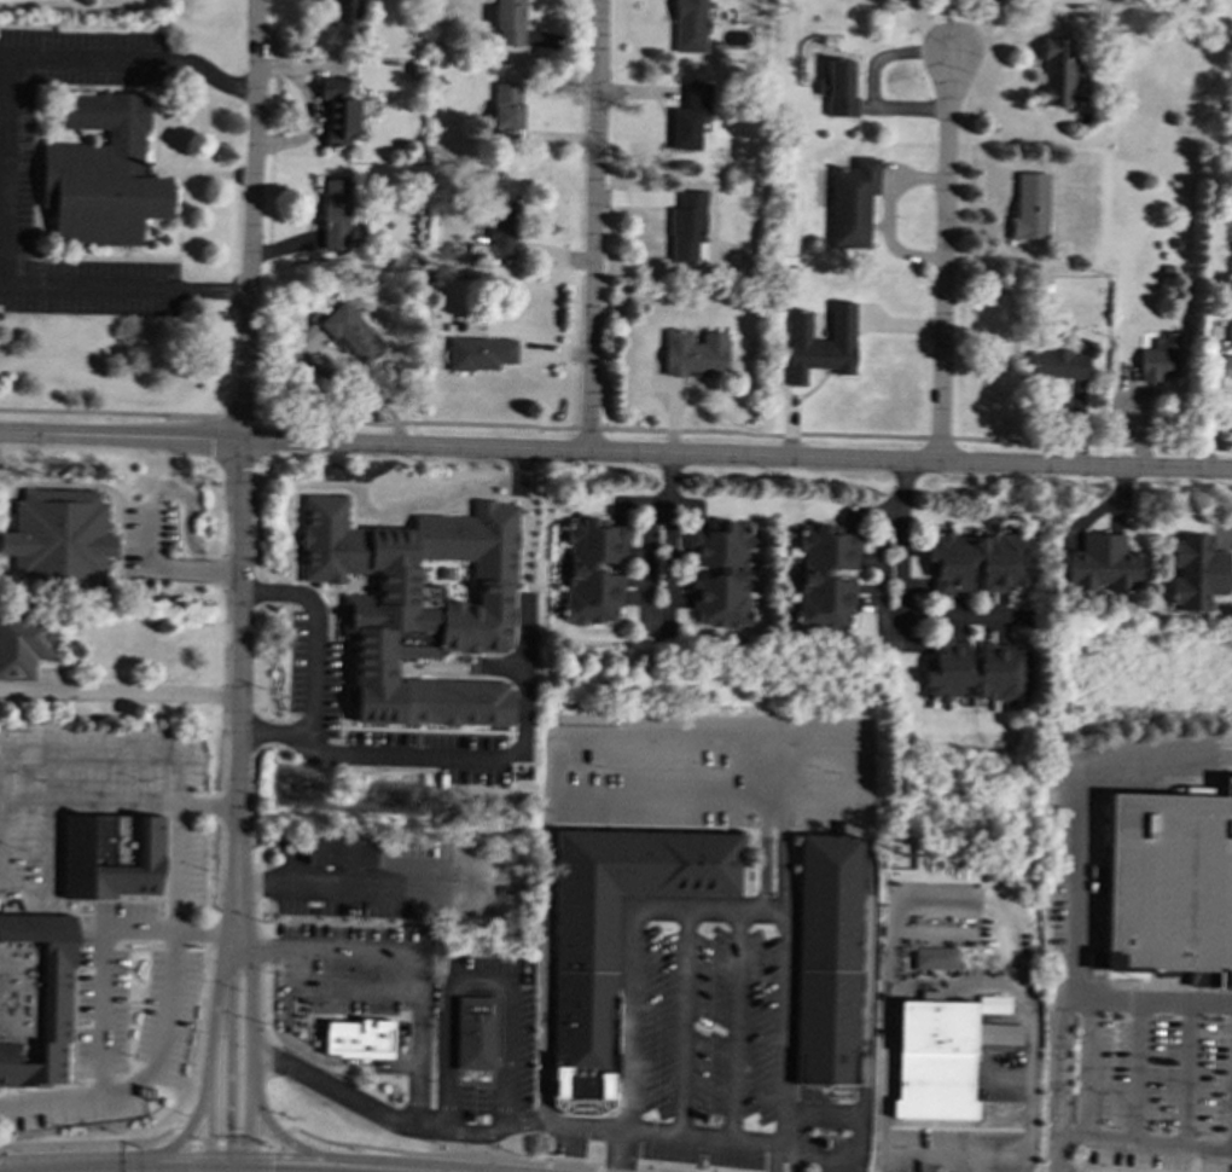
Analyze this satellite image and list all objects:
building: (344, 16)
building: (505, 21)
building: (688, 25)
building: (1059, 72)
road: (5, 77)
building: (838, 88)
building: (506, 105)
building: (337, 112)
building: (688, 117)
road: (6, 163)
parking lot: (16, 173)
building: (101, 173)
building: (852, 202)
building: (1029, 205)
building: (335, 214)
road: (592, 224)
building: (501, 227)
building: (686, 227)
road: (943, 255)
road: (1, 282)
building: (350, 332)
building: (1230, 333)
building: (821, 343)
building: (480, 353)
building: (693, 353)
building: (1158, 359)
building: (1058, 365)
building: (1225, 366)
road: (336, 378)
road: (242, 424)
road: (615, 428)
road: (294, 439)
road: (910, 459)
road: (518, 471)
road: (401, 518)
building: (58, 539)
building: (977, 561)
building: (1102, 564)
road: (163, 568)
building: (1196, 572)
building: (717, 574)
building: (825, 575)
road: (900, 587)
road: (646, 594)
building: (426, 619)
building: (22, 644)
building: (975, 672)
road: (130, 691)
road: (275, 731)
road: (553, 737)
road: (114, 752)
road: (383, 755)
road: (772, 768)
parking lot: (715, 771)
road: (118, 805)
road: (772, 806)
road: (550, 810)
building: (339, 852)
building: (109, 855)
road: (1077, 859)
road: (763, 860)
road: (780, 860)
road: (45, 871)
road: (238, 881)
parking lot: (366, 883)
road: (344, 884)
building: (1169, 887)
road: (176, 892)
road: (945, 898)
parking lot: (111, 915)
building: (611, 933)
road: (214, 936)
road: (633, 944)
road: (335, 950)
building: (934, 958)
building: (826, 959)
parking lot: (358, 965)
road: (473, 971)
road: (100, 973)
road: (948, 979)
road: (473, 981)
road: (341, 982)
building: (34, 998)
building: (992, 1004)
road: (1210, 1004)
road: (214, 1009)
road: (249, 1009)
road: (541, 1011)
road: (864, 1017)
road: (681, 1021)
road: (732, 1025)
road: (784, 1032)
building: (472, 1033)
parking lot: (515, 1033)
building: (358, 1038)
road: (417, 1038)
road: (308, 1054)
building: (940, 1057)
parking lot: (714, 1060)
road: (228, 1062)
road: (1085, 1069)
road: (1137, 1073)
road: (1186, 1075)
road: (1058, 1083)
road: (126, 1087)
parking lot: (1153, 1093)
road: (371, 1108)
road: (823, 1115)
road: (194, 1118)
road: (524, 1124)
traffic signals: (228, 1132)
traffic signals: (209, 1136)
road: (272, 1136)
road: (702, 1136)
road: (185, 1138)
road: (89, 1142)
road: (227, 1143)
road: (1145, 1143)
road: (620, 1150)
road: (449, 1155)
road: (193, 1158)
road: (260, 1158)
road: (358, 1159)
road: (781, 1162)
road: (959, 1164)
road: (219, 1170)
road: (237, 1170)
road: (257, 1170)
road: (165, 1171)
road: (208, 1171)
road: (229, 1171)
road: (244, 1171)
road: (244, 1171)
traffic signals: (269, 1171)

